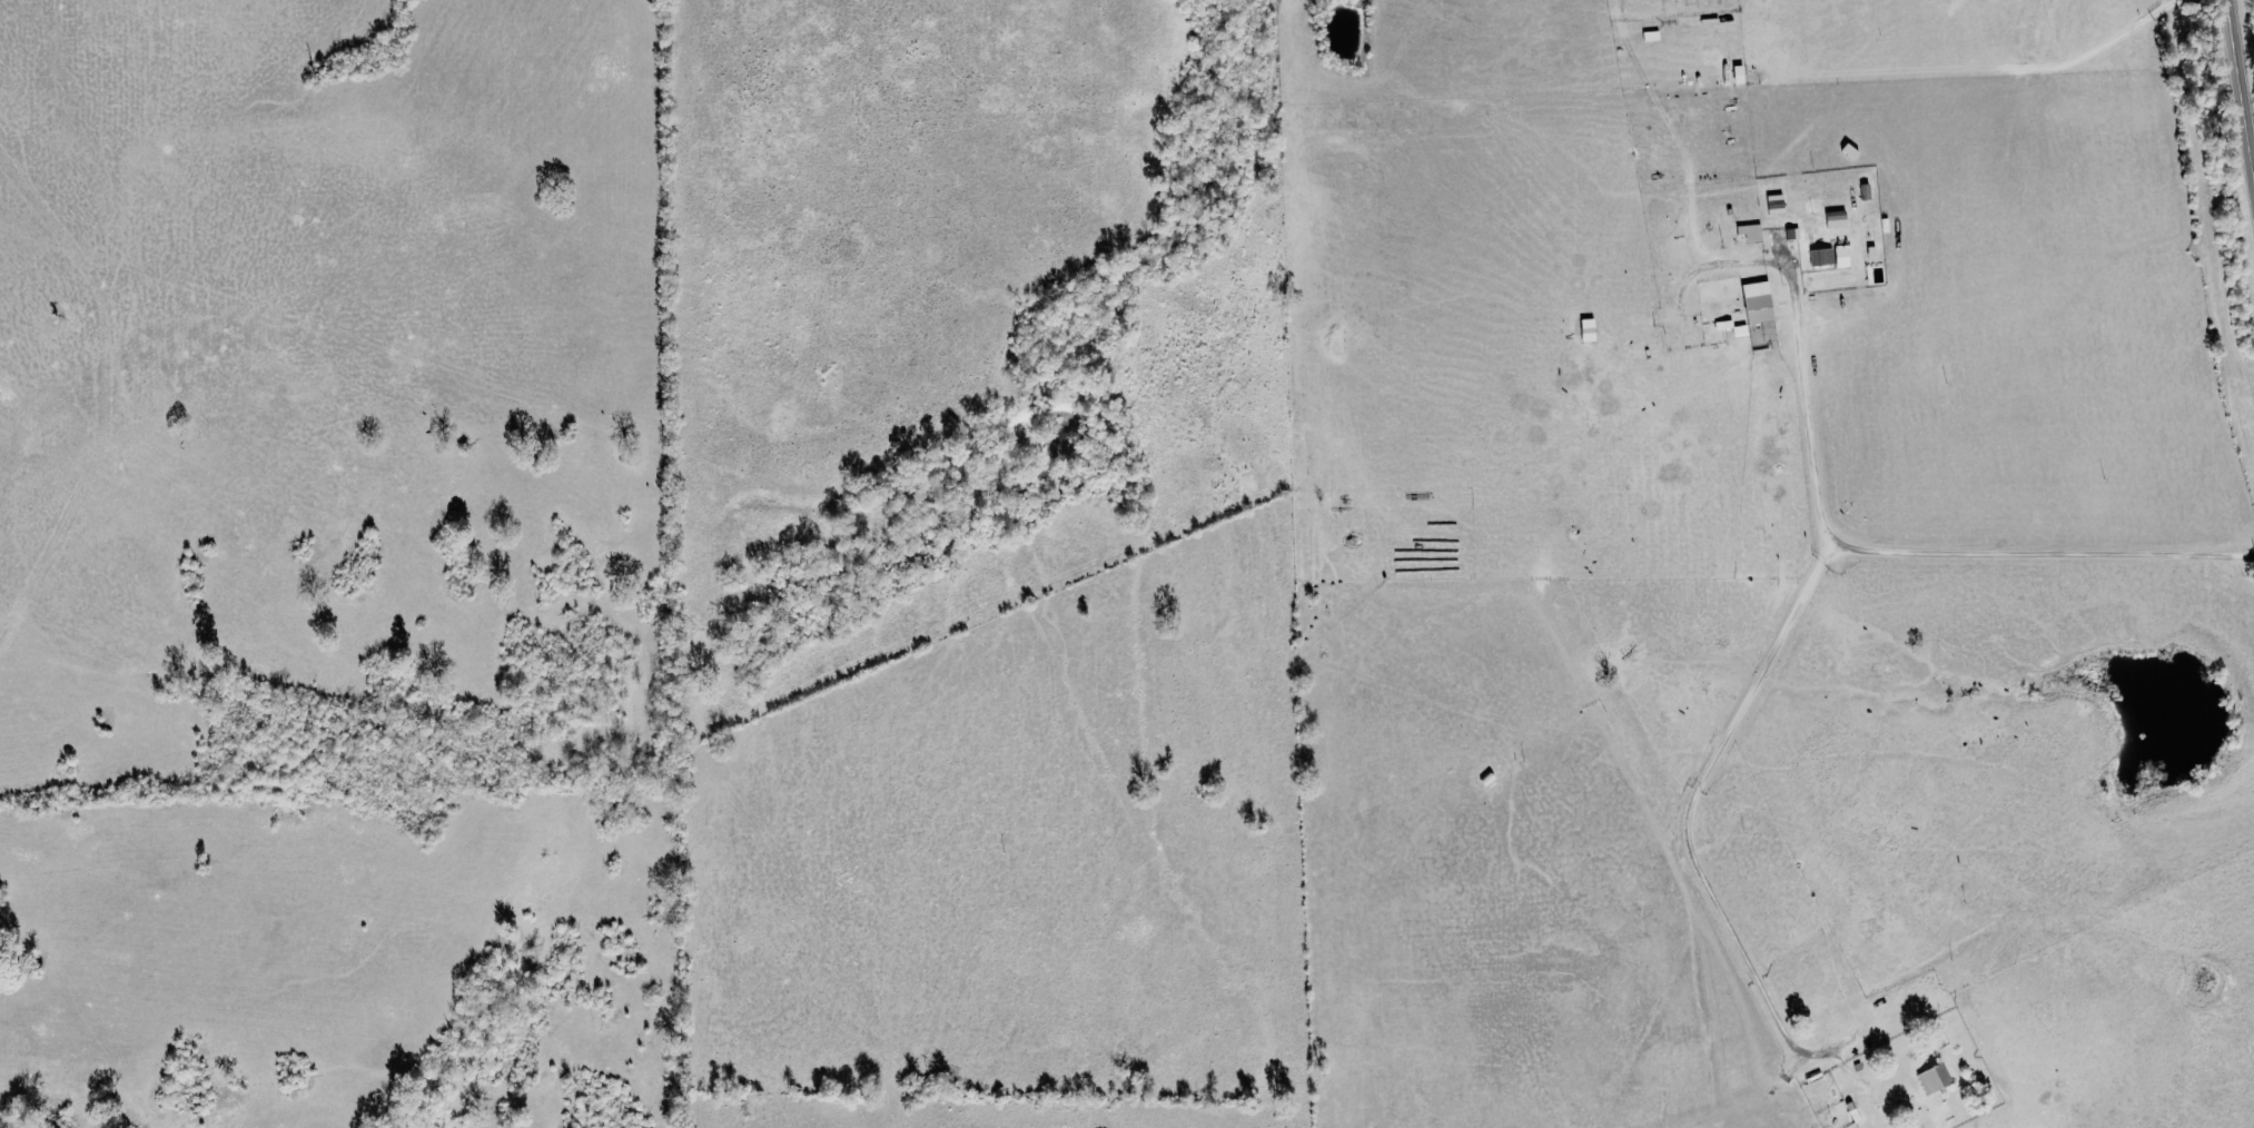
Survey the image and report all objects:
road: (2238, 92)
building: (1835, 219)
building: (1749, 232)
building: (1791, 234)
building: (1870, 251)
building: (1830, 257)
building: (1756, 301)
building: (1932, 1078)

